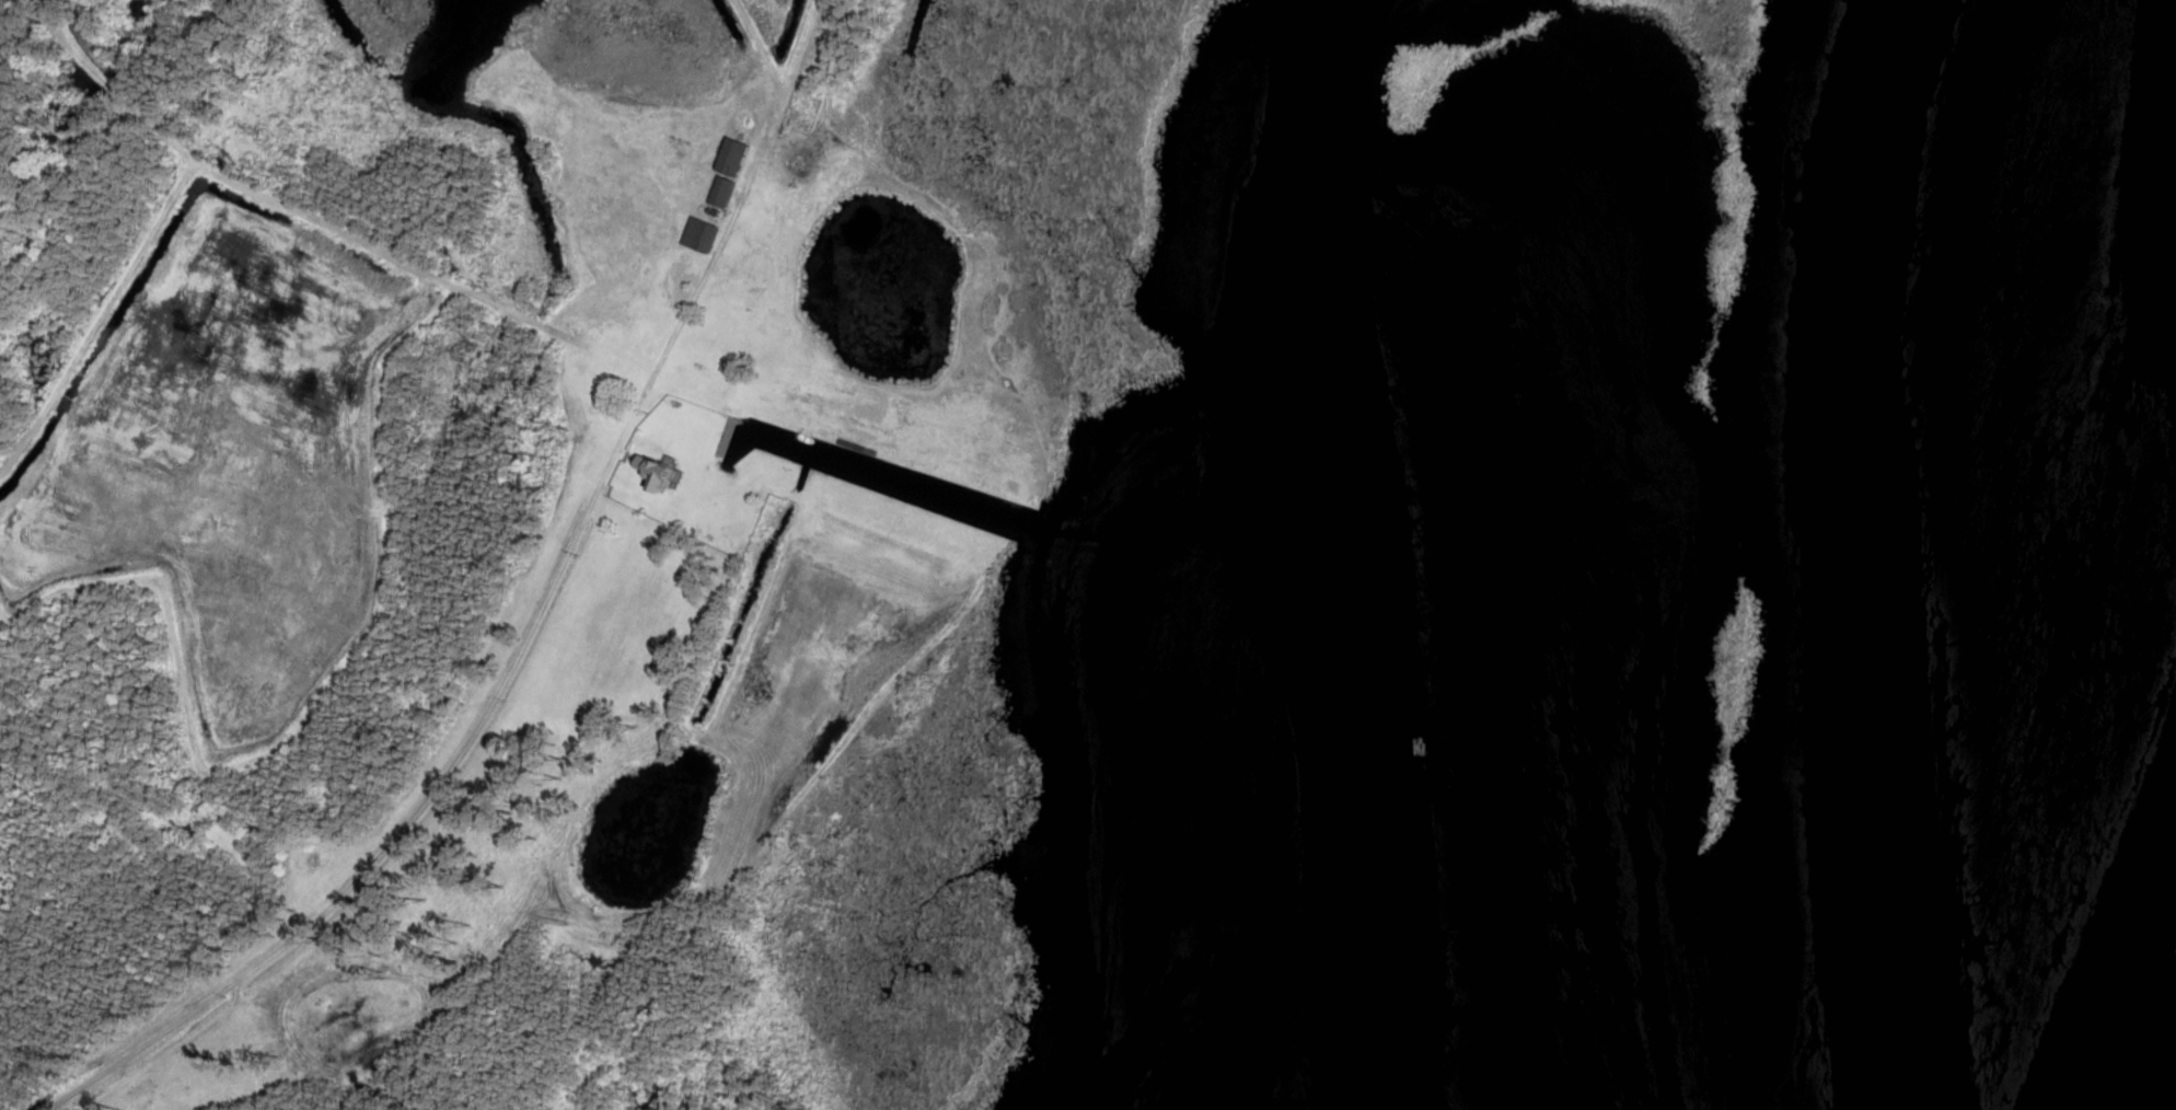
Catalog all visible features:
road: (757, 45)
road: (791, 57)
building: (732, 157)
building: (721, 192)
road: (324, 224)
building: (699, 234)
road: (713, 262)
building: (652, 472)
road: (645, 505)
road: (415, 814)

